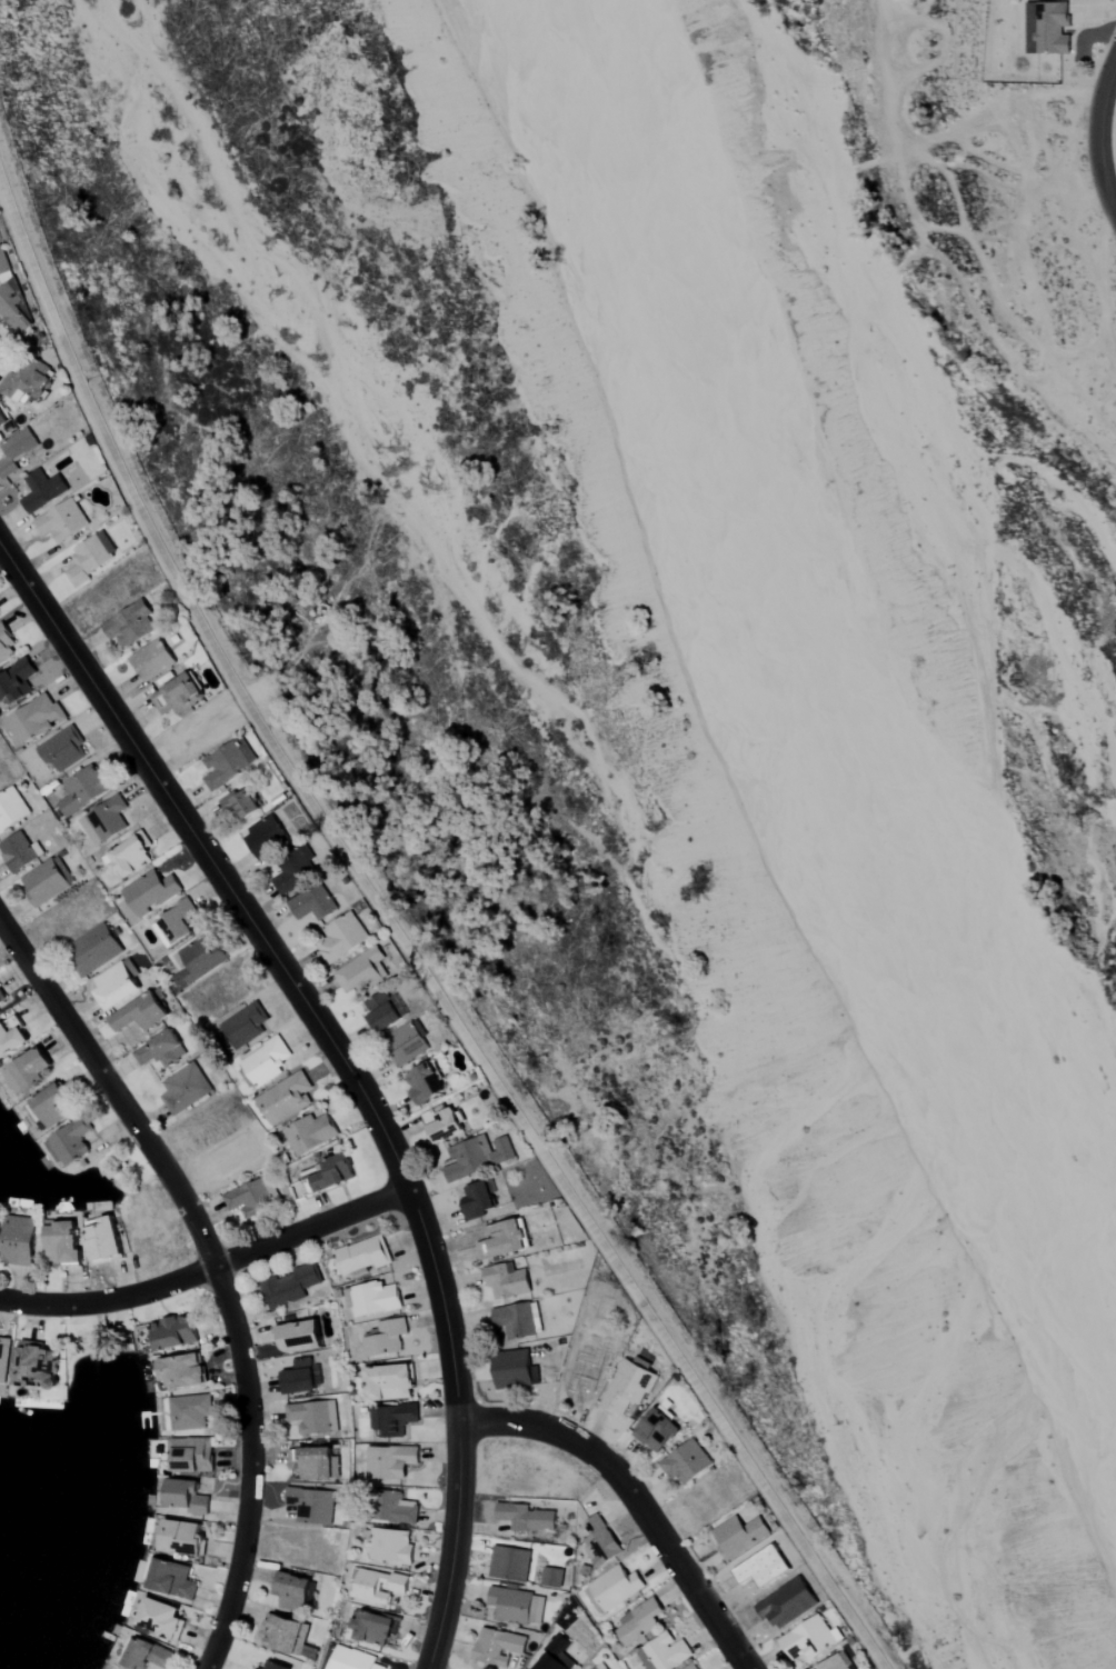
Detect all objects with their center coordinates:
building: (1047, 28)
road: (1102, 137)
building: (3, 264)
building: (16, 311)
building: (26, 382)
building: (1, 420)
building: (16, 451)
building: (42, 491)
building: (61, 522)
building: (90, 559)
building: (130, 626)
building: (6, 646)
building: (150, 661)
building: (14, 681)
building: (177, 696)
river: (814, 709)
building: (34, 718)
building: (61, 749)
building: (227, 761)
building: (82, 788)
building: (238, 803)
building: (11, 808)
building: (104, 819)
building: (262, 834)
building: (19, 850)
building: (129, 856)
building: (292, 868)
building: (46, 881)
building: (150, 891)
building: (311, 902)
building: (175, 922)
building: (338, 938)
road: (412, 939)
building: (93, 949)
building: (197, 960)
road: (278, 961)
building: (361, 970)
building: (116, 985)
building: (1, 995)
building: (382, 1010)
building: (0, 1011)
building: (140, 1012)
building: (0, 1013)
building: (243, 1025)
building: (11, 1039)
building: (403, 1042)
building: (160, 1049)
building: (263, 1062)
building: (28, 1069)
building: (421, 1082)
building: (185, 1088)
building: (285, 1098)
building: (49, 1105)
building: (444, 1125)
building: (309, 1133)
building: (69, 1141)
building: (475, 1156)
building: (328, 1173)
building: (252, 1196)
building: (476, 1199)
road: (312, 1227)
building: (502, 1238)
building: (102, 1239)
building: (19, 1240)
building: (62, 1242)
building: (362, 1255)
road: (218, 1268)
building: (506, 1281)
building: (288, 1285)
building: (372, 1298)
road: (112, 1302)
building: (518, 1319)
building: (175, 1332)
building: (298, 1336)
building: (386, 1338)
building: (3, 1357)
building: (37, 1366)
building: (183, 1370)
building: (514, 1370)
building: (586, 1372)
building: (299, 1378)
building: (390, 1383)
building: (628, 1387)
building: (190, 1412)
building: (313, 1417)
building: (392, 1419)
building: (657, 1430)
building: (189, 1456)
building: (390, 1461)
building: (311, 1462)
building: (686, 1462)
building: (185, 1497)
road: (636, 1498)
building: (311, 1505)
building: (396, 1506)
building: (525, 1518)
building: (738, 1536)
building: (182, 1538)
building: (600, 1541)
building: (390, 1546)
road: (452, 1546)
building: (509, 1563)
building: (551, 1578)
building: (172, 1580)
building: (379, 1586)
building: (615, 1587)
building: (291, 1591)
building: (516, 1606)
building: (160, 1618)
building: (638, 1623)
building: (373, 1628)
building: (282, 1633)
building: (808, 1640)
building: (497, 1647)
building: (664, 1653)
building: (147, 1656)
building: (352, 1659)
building: (836, 1662)
building: (276, 1666)
building: (599, 1667)
building: (691, 1667)

